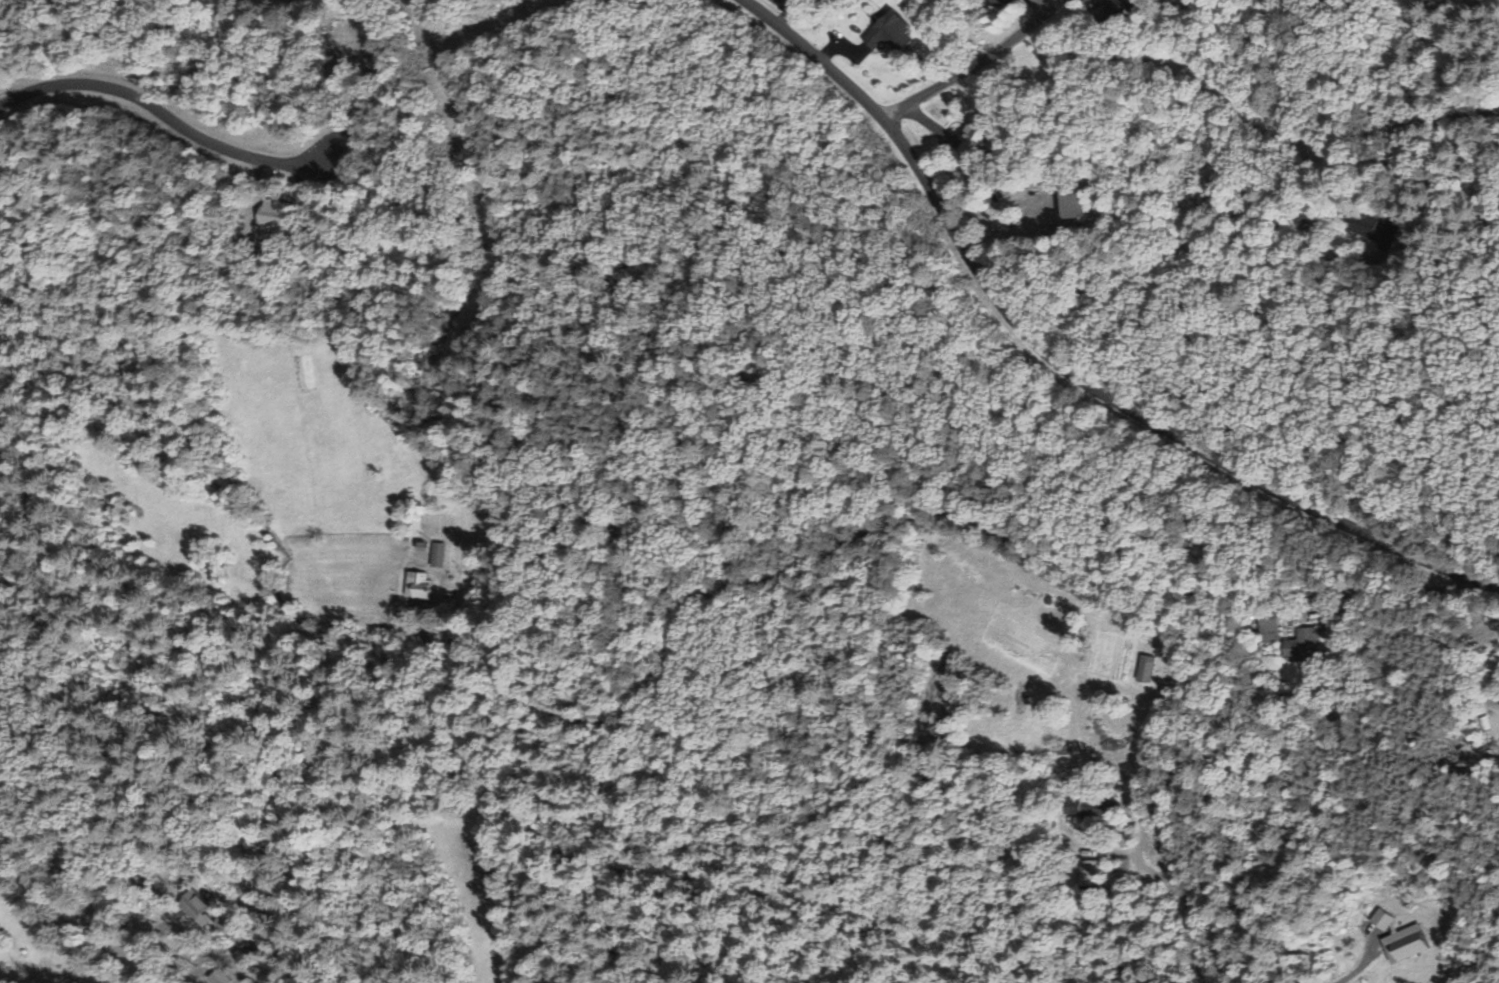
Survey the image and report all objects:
building: (1001, 3)
building: (1116, 11)
building: (889, 32)
road: (969, 54)
road: (165, 114)
building: (974, 142)
building: (1072, 198)
building: (1364, 223)
building: (1390, 232)
road: (1165, 256)
road: (1070, 362)
road: (927, 510)
building: (437, 554)
building: (419, 585)
building: (1268, 625)
building: (1303, 644)
building: (1145, 670)
building: (1062, 750)
building: (1090, 807)
building: (1089, 874)
building: (196, 904)
road: (77, 914)

